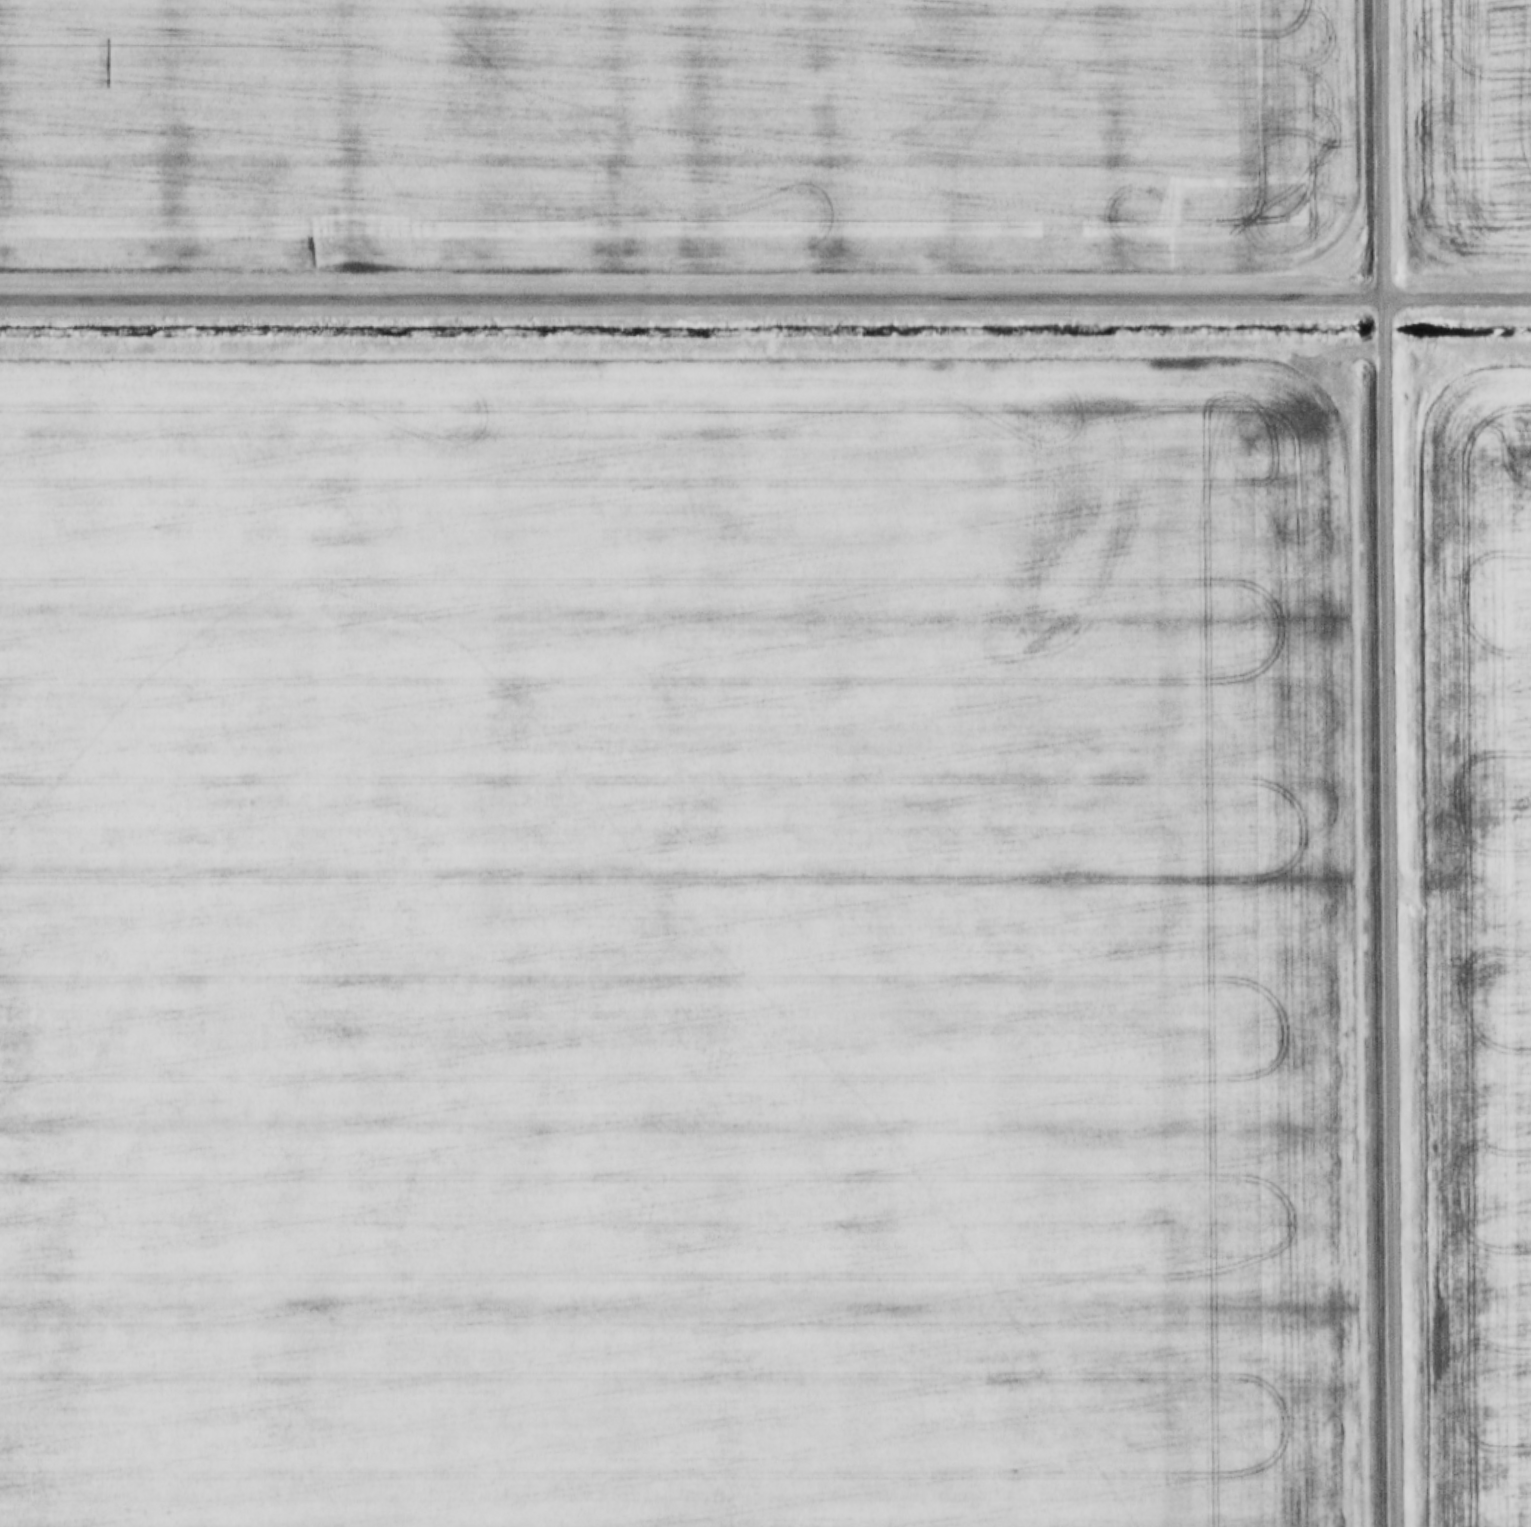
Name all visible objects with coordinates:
crop: (1469, 129)
crop: (673, 136)
road: (765, 297)
road: (1393, 763)
crop: (1481, 935)
crop: (684, 950)

